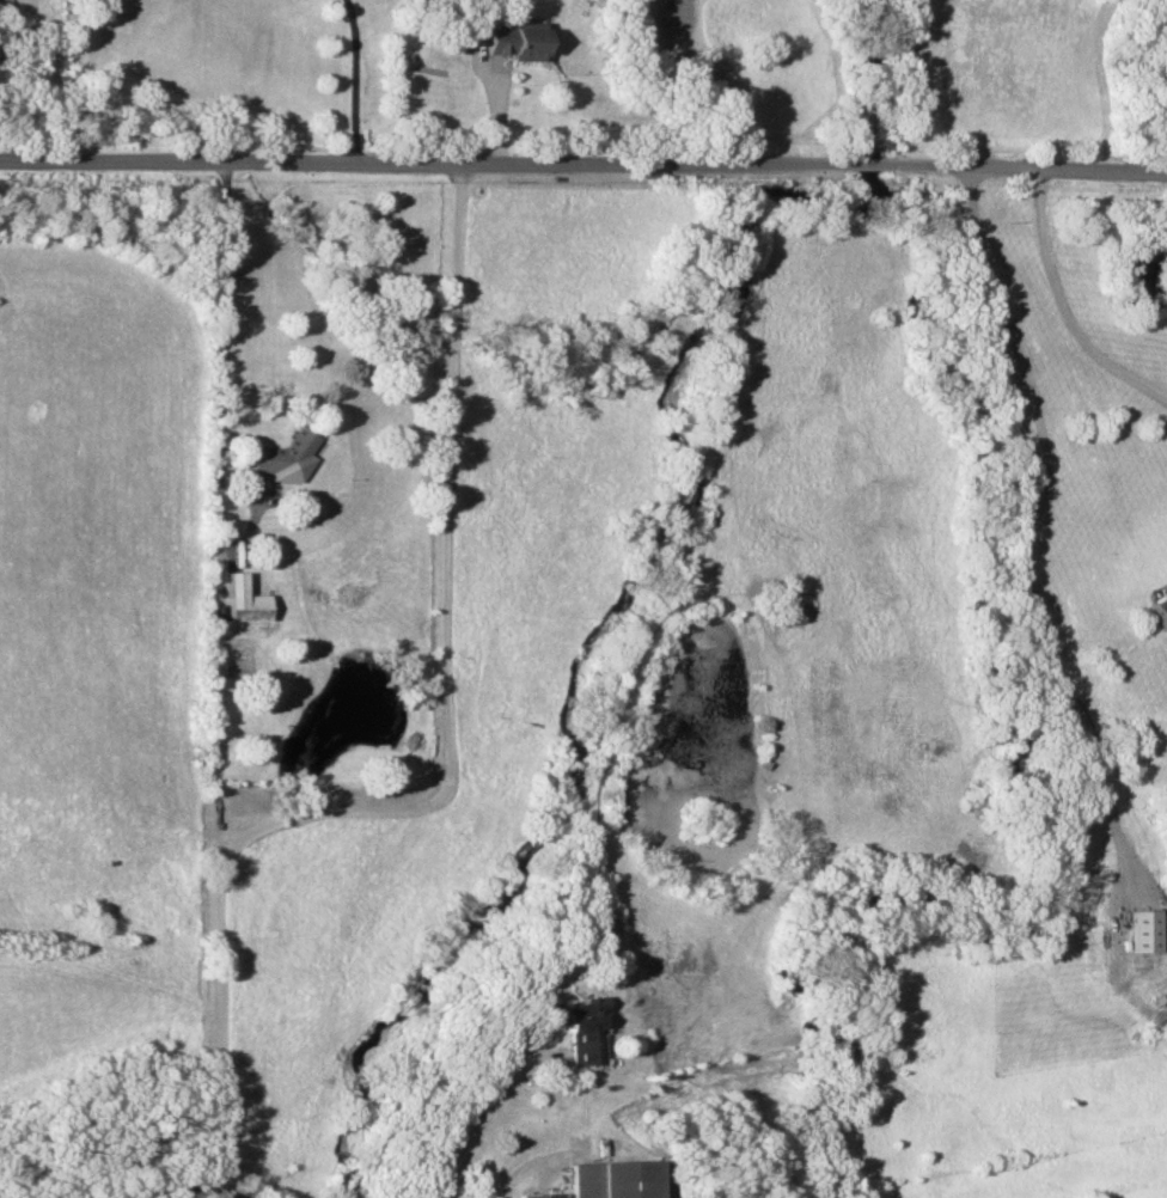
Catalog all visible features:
building: (515, 41)
road: (73, 79)
road: (355, 79)
road: (427, 163)
road: (873, 167)
road: (1028, 173)
road: (1062, 311)
road: (221, 385)
building: (287, 457)
road: (1028, 532)
building: (1157, 606)
building: (249, 607)
road: (445, 763)
building: (1144, 930)
building: (582, 1026)
road: (477, 1126)
road: (517, 1169)
building: (615, 1179)
road: (216, 1186)
building: (542, 1194)
road: (216, 1197)

